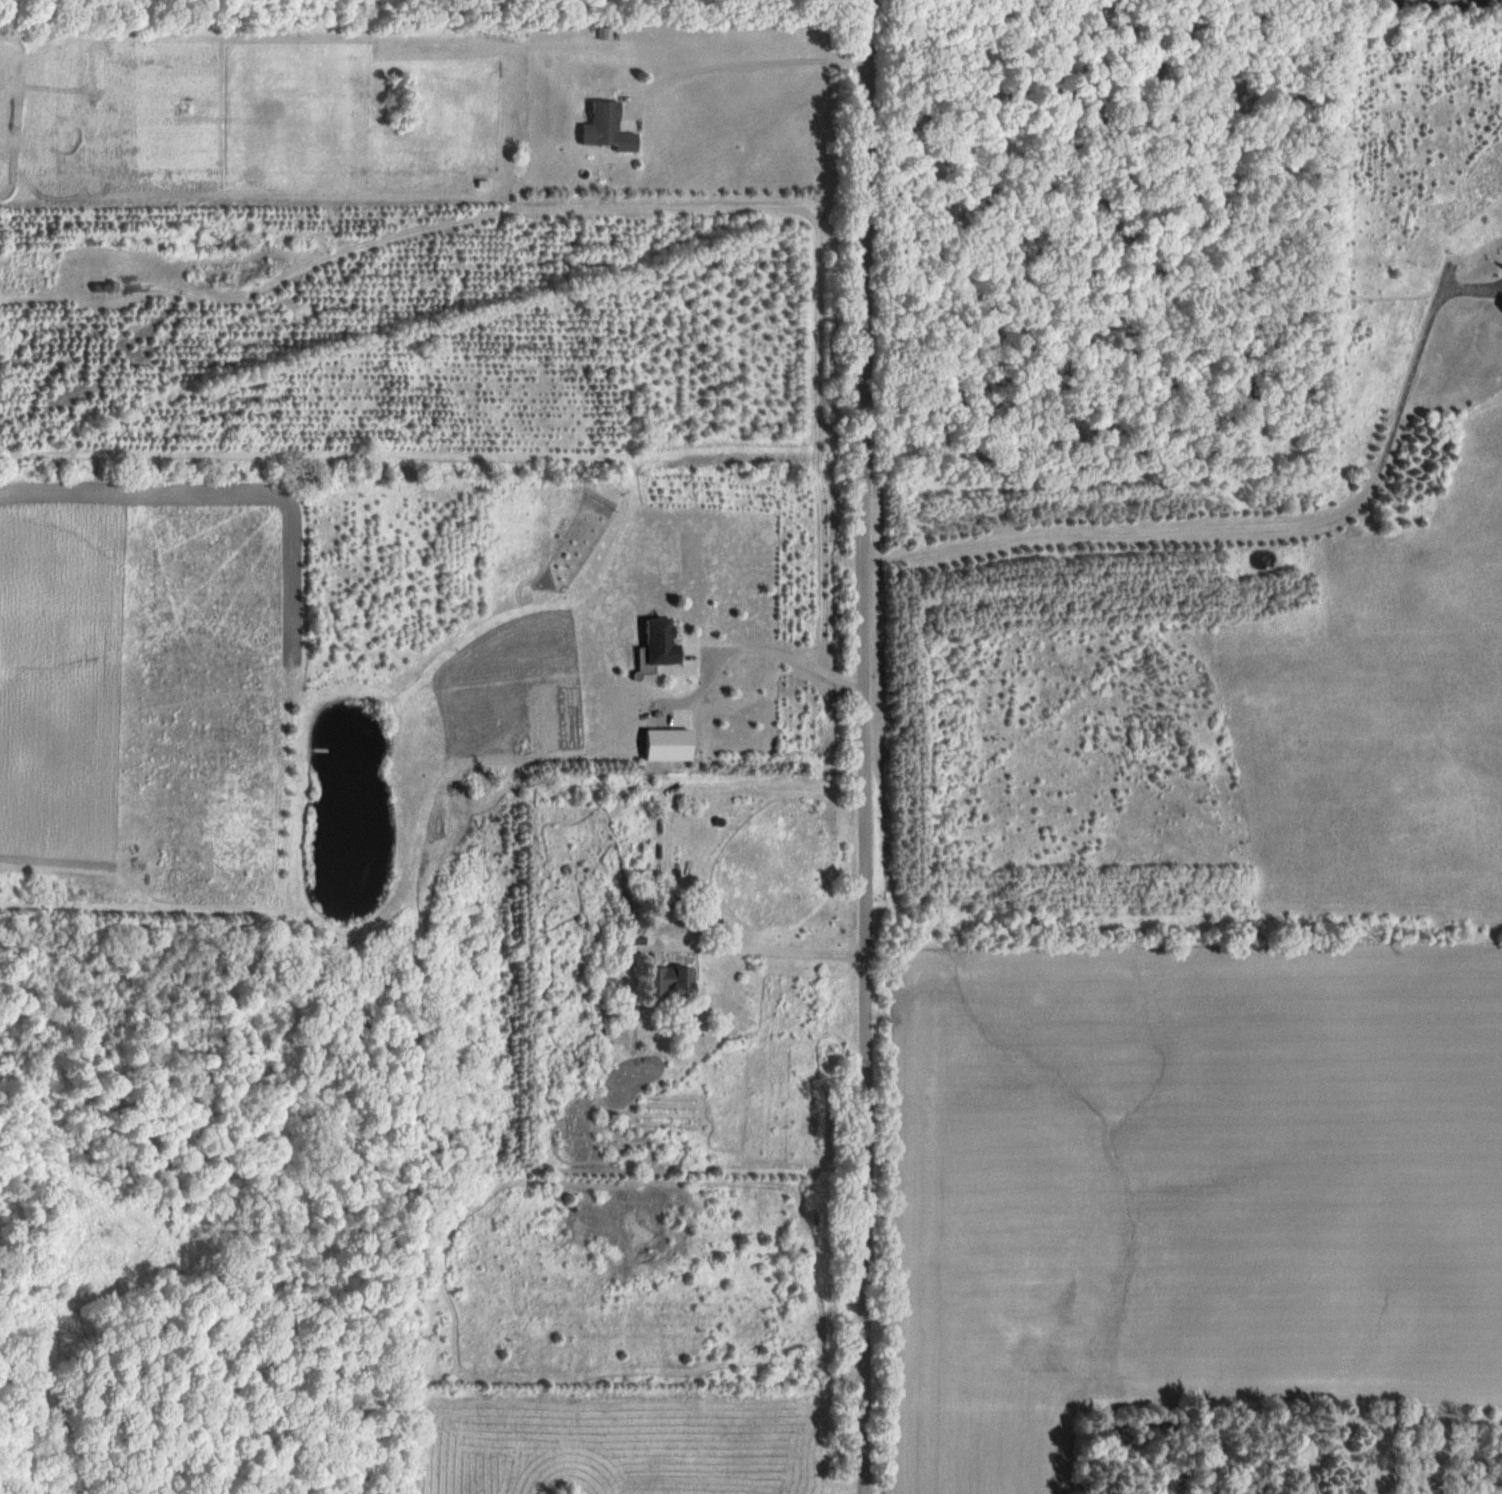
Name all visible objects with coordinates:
road: (742, 63)
building: (606, 129)
building: (102, 287)
road: (1230, 525)
building: (659, 642)
road: (789, 651)
road: (866, 746)
road: (769, 948)
building: (666, 981)

